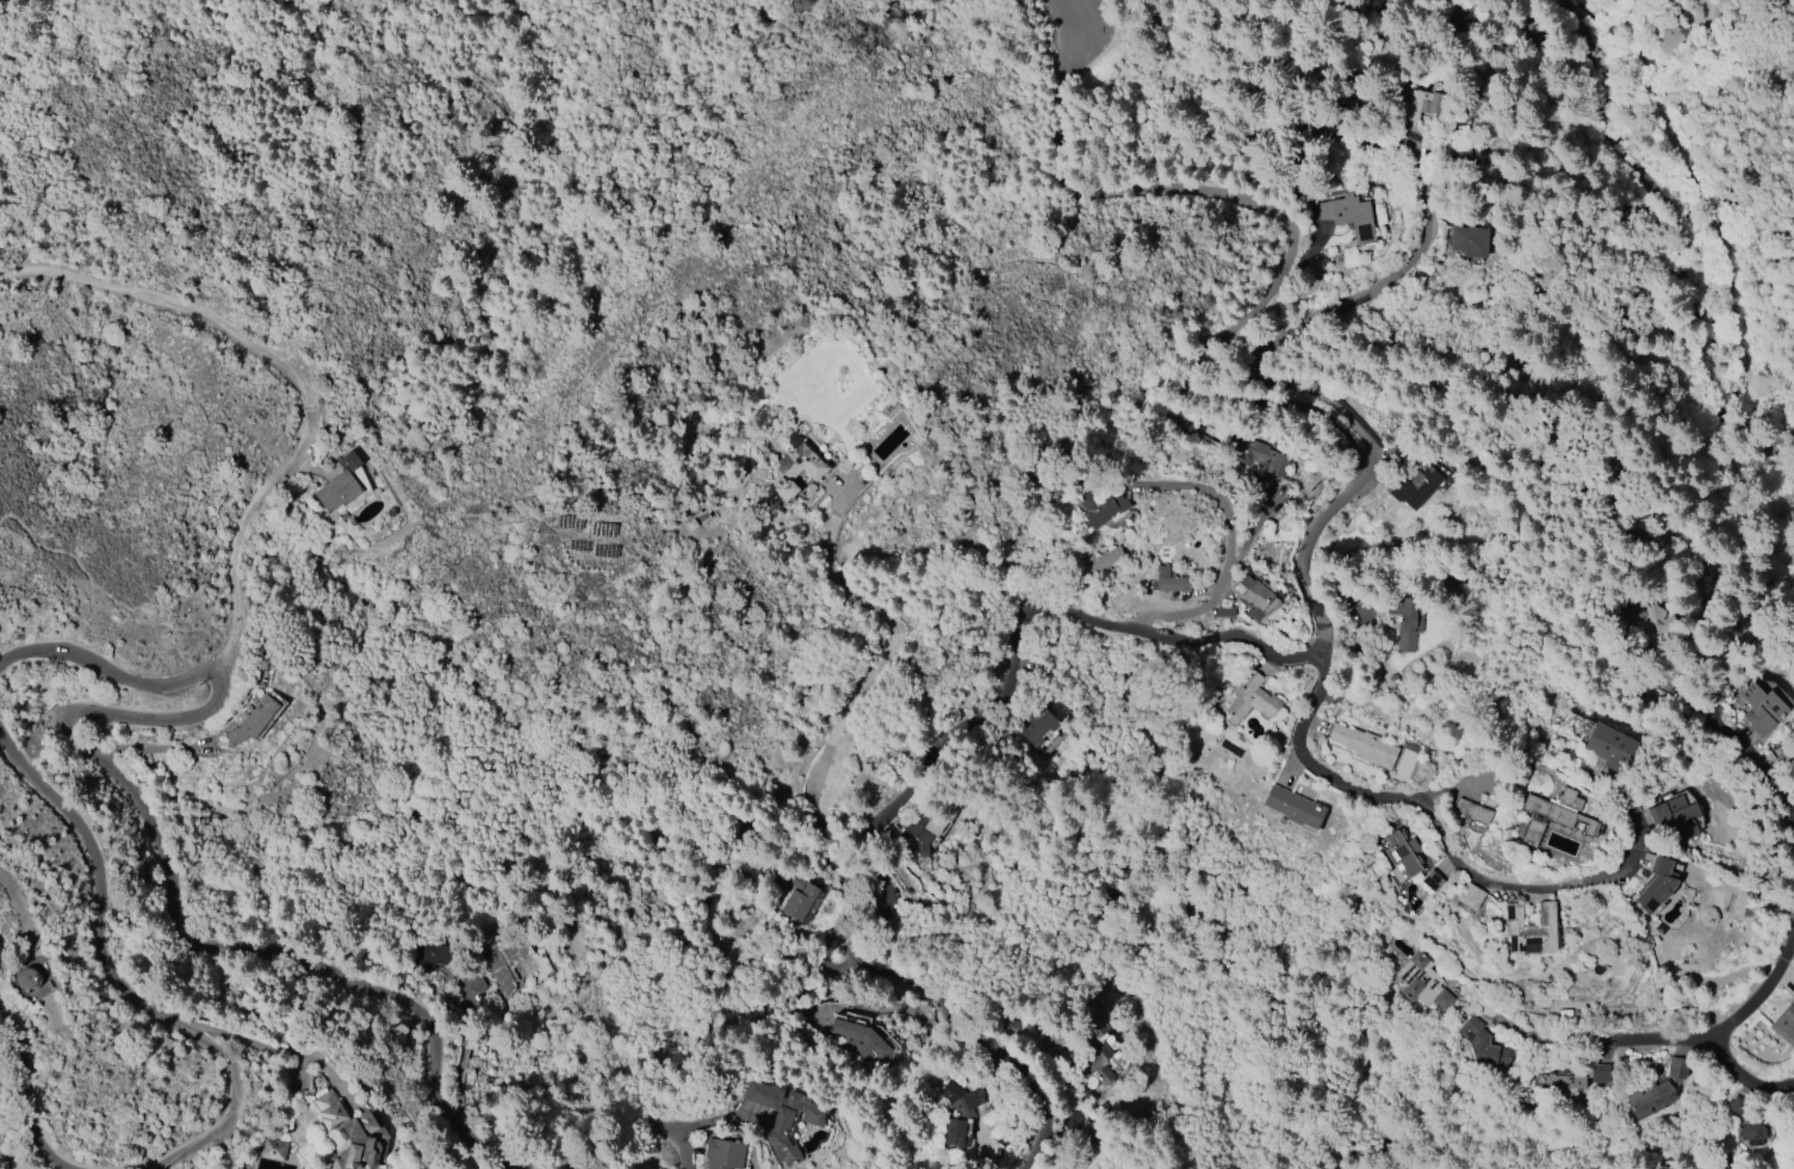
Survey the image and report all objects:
road: (1695, 18)
building: (1422, 105)
building: (1453, 144)
road: (1274, 205)
road: (1702, 214)
building: (1348, 216)
road: (1663, 222)
building: (1469, 240)
road: (1361, 296)
road: (296, 373)
building: (890, 410)
road: (567, 421)
building: (1258, 456)
building: (796, 471)
building: (1413, 486)
building: (347, 490)
road: (1218, 499)
building: (1098, 508)
building: (696, 518)
building: (1103, 559)
building: (1171, 579)
road: (1223, 583)
road: (106, 595)
building: (1253, 597)
building: (1352, 597)
building: (1224, 610)
building: (1405, 618)
road: (107, 667)
road: (876, 673)
road: (38, 690)
building: (1250, 698)
building: (1761, 709)
building: (253, 720)
building: (1043, 732)
road: (960, 736)
building: (1364, 746)
building: (1609, 747)
building: (1786, 758)
road: (1767, 771)
road: (1489, 772)
road: (1424, 806)
building: (1292, 807)
building: (1471, 812)
building: (1554, 816)
building: (1675, 816)
building: (921, 829)
building: (1403, 853)
building: (1432, 879)
building: (1656, 884)
building: (1469, 895)
building: (799, 902)
road: (185, 922)
building: (1531, 929)
building: (426, 953)
building: (504, 963)
road: (1755, 963)
building: (1422, 982)
building: (474, 983)
road: (123, 987)
building: (1786, 1022)
road: (1528, 1032)
road: (241, 1033)
road: (1702, 1037)
building: (861, 1039)
building: (1051, 1044)
building: (1482, 1044)
building: (1095, 1050)
building: (1677, 1067)
building: (1602, 1074)
building: (1566, 1078)
road: (31, 1083)
building: (1650, 1098)
building: (960, 1114)
building: (784, 1117)
building: (1746, 1123)
building: (349, 1133)
road: (689, 1148)
building: (273, 1150)
building: (724, 1154)

